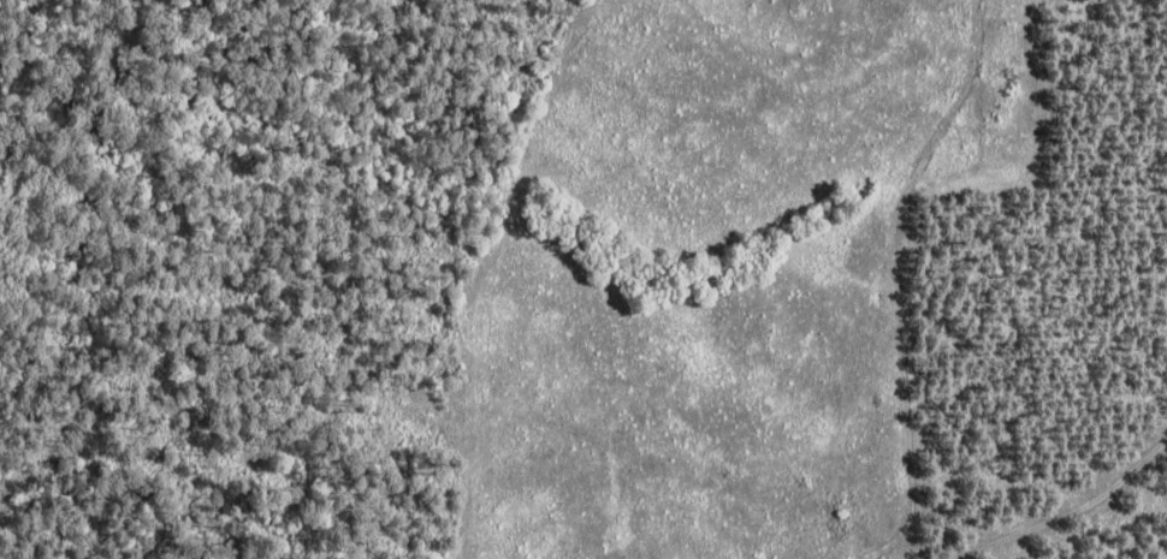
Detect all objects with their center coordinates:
road: (1072, 500)

